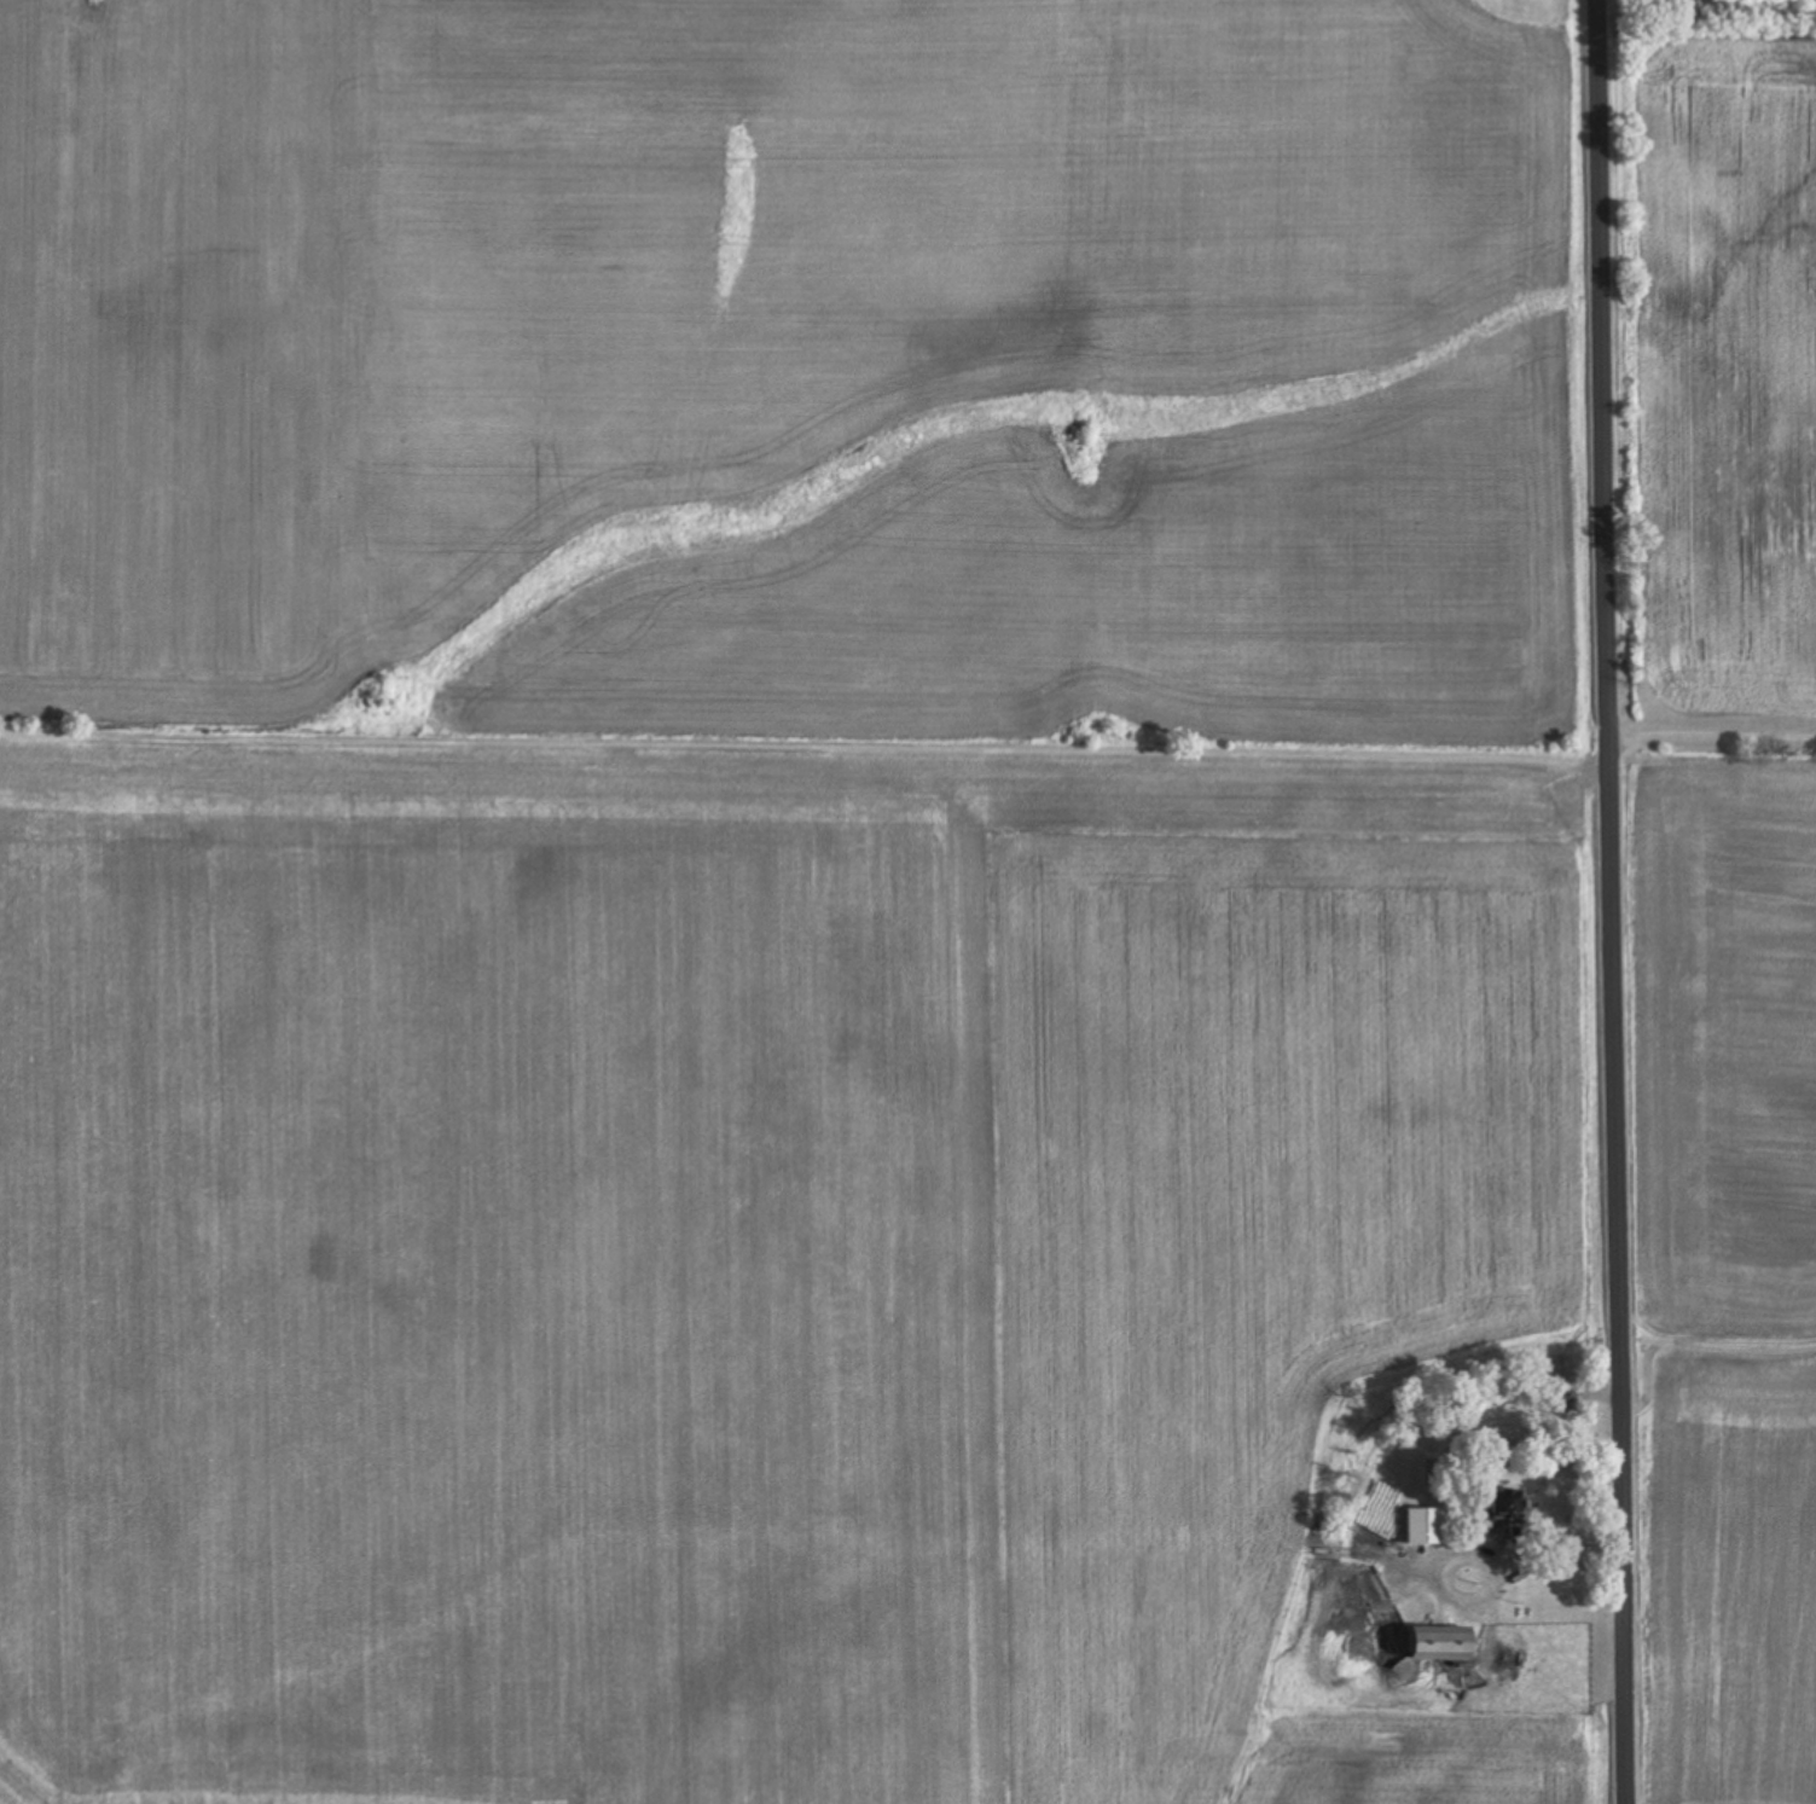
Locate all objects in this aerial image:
road: (1613, 901)
building: (1508, 1508)
building: (1426, 1527)
building: (1444, 1643)

